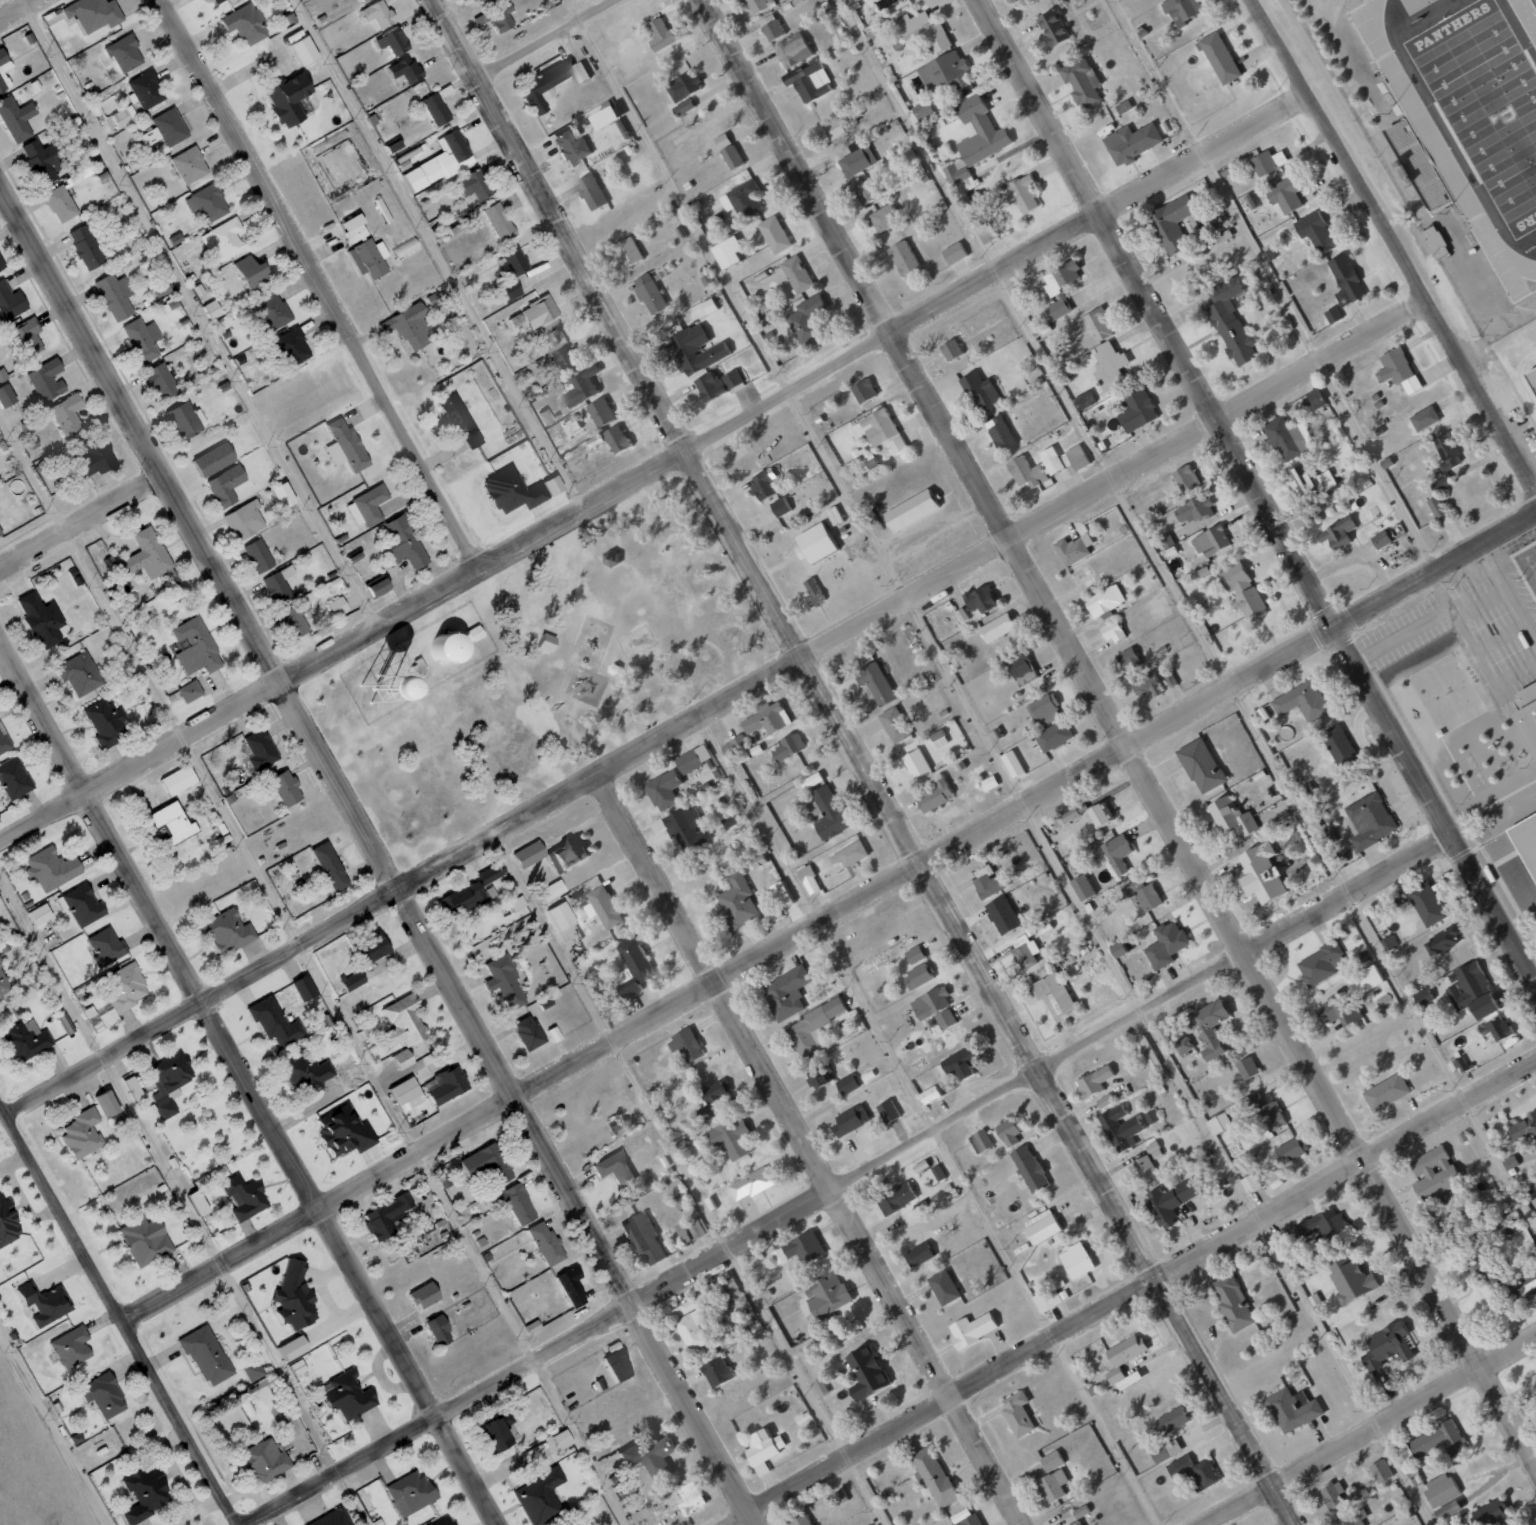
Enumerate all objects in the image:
building: (211, 1)
building: (479, 1)
building: (849, 1)
building: (759, 4)
road: (11, 7)
building: (1181, 10)
track: (1529, 12)
building: (93, 13)
building: (372, 13)
track: (1377, 16)
building: (492, 17)
building: (241, 24)
building: (771, 27)
building: (1052, 27)
building: (924, 32)
building: (661, 35)
building: (388, 41)
road: (564, 45)
building: (298, 50)
building: (792, 50)
building: (125, 53)
building: (1219, 58)
building: (4, 68)
building: (401, 69)
building: (946, 72)
building: (810, 81)
building: (1081, 81)
building: (540, 85)
building: (684, 86)
building: (147, 89)
building: (282, 99)
park: (1488, 100)
building: (683, 107)
building: (1123, 107)
building: (432, 108)
building: (921, 111)
building: (124, 116)
building: (604, 117)
building: (17, 118)
building: (841, 124)
building: (976, 138)
building: (1131, 143)
building: (389, 146)
building: (569, 147)
building: (729, 151)
track: (1442, 151)
building: (855, 157)
building: (43, 161)
building: (436, 162)
building: (1268, 162)
building: (1421, 163)
building: (190, 165)
building: (79, 175)
building: (471, 184)
building: (867, 188)
building: (591, 191)
building: (1022, 193)
building: (1285, 194)
building: (742, 199)
building: (208, 202)
building: (61, 203)
building: (883, 218)
building: (496, 221)
building: (1171, 225)
building: (349, 228)
building: (986, 232)
building: (1315, 232)
building: (774, 234)
building: (1224, 236)
building: (175, 238)
building: (222, 241)
building: (1434, 242)
road: (1393, 246)
building: (86, 247)
building: (402, 248)
building: (628, 251)
building: (727, 252)
building: (953, 253)
road: (439, 255)
building: (364, 258)
building: (903, 258)
building: (509, 261)
track: (1519, 263)
building: (1, 264)
building: (253, 272)
building: (796, 274)
building: (1062, 277)
building: (1346, 280)
road: (1277, 284)
road: (316, 285)
building: (505, 290)
building: (649, 292)
building: (116, 295)
building: (11, 301)
building: (1058, 308)
building: (213, 309)
building: (272, 311)
building: (534, 312)
road: (200, 314)
building: (1333, 315)
building: (807, 319)
building: (1230, 322)
building: (1098, 324)
building: (404, 326)
building: (26, 337)
building: (142, 340)
building: (292, 347)
building: (697, 349)
building: (951, 349)
building: (566, 360)
building: (1109, 365)
building: (1398, 370)
building: (1533, 373)
building: (733, 379)
building: (48, 380)
building: (163, 381)
building: (711, 386)
building: (582, 387)
building: (864, 390)
building: (981, 391)
building: (7, 396)
building: (1316, 398)
building: (1084, 401)
building: (1137, 411)
building: (601, 412)
building: (68, 414)
building: (1424, 418)
building: (454, 420)
building: (184, 421)
building: (570, 425)
building: (876, 427)
building: (1000, 433)
building: (1288, 438)
building: (617, 439)
building: (349, 444)
building: (897, 445)
building: (97, 456)
building: (1075, 458)
building: (216, 459)
road: (652, 467)
building: (1035, 468)
building: (1443, 471)
building: (1184, 480)
building: (1301, 482)
building: (764, 484)
building: (227, 485)
building: (546, 485)
building: (507, 491)
road: (1257, 493)
building: (286, 495)
building: (368, 506)
building: (780, 507)
building: (912, 510)
building: (1194, 510)
building: (835, 515)
road: (78, 519)
building: (246, 520)
building: (1337, 533)
building: (0, 535)
building: (1381, 539)
building: (1166, 540)
building: (1211, 541)
building: (404, 543)
building: (815, 544)
building: (1070, 550)
building: (147, 555)
building: (259, 555)
building: (278, 584)
building: (378, 586)
building: (812, 591)
building: (1242, 591)
building: (981, 599)
building: (1104, 601)
building: (338, 606)
road: (1189, 613)
building: (42, 619)
building: (293, 622)
building: (996, 628)
building: (1112, 631)
building: (445, 645)
storage tank: (445, 645)
building: (196, 647)
building: (1129, 660)
building: (1019, 665)
water tower: (361, 670)
park: (553, 672)
building: (80, 673)
building: (1146, 682)
building: (875, 683)
building: (190, 691)
building: (1302, 701)
road: (716, 710)
building: (1045, 710)
building: (1530, 711)
building: (767, 718)
building: (105, 722)
building: (895, 724)
road: (1117, 734)
building: (1053, 736)
building: (939, 738)
building: (5, 742)
building: (734, 745)
building: (788, 747)
building: (1340, 748)
building: (259, 749)
building: (689, 761)
road: (862, 761)
road: (1002, 762)
building: (916, 763)
building: (1012, 764)
building: (1201, 765)
building: (15, 777)
building: (179, 780)
building: (989, 783)
building: (287, 788)
building: (666, 789)
building: (935, 796)
building: (829, 813)
building: (1100, 813)
building: (1070, 814)
building: (1231, 816)
building: (731, 820)
building: (1369, 820)
building: (174, 823)
building: (689, 828)
building: (1526, 838)
building: (530, 853)
building: (1117, 853)
building: (574, 854)
building: (849, 854)
road: (376, 858)
building: (331, 866)
building: (52, 868)
building: (491, 872)
building: (809, 879)
building: (990, 881)
building: (1082, 887)
building: (781, 894)
building: (1143, 894)
building: (464, 899)
building: (738, 903)
building: (1426, 903)
building: (84, 905)
building: (608, 907)
building: (41, 914)
building: (1002, 914)
building: (563, 916)
road: (828, 916)
building: (228, 931)
building: (1441, 940)
building: (1389, 942)
building: (1166, 944)
building: (106, 946)
building: (372, 948)
building: (1118, 950)
building: (1026, 952)
building: (915, 954)
building: (1321, 964)
building: (639, 965)
road: (313, 970)
building: (917, 976)
building: (1364, 980)
building: (353, 981)
building: (505, 981)
building: (3, 983)
building: (125, 986)
building: (305, 989)
building: (1054, 991)
building: (1471, 991)
building: (786, 992)
building: (1423, 997)
building: (930, 1002)
building: (97, 1007)
building: (1336, 1009)
building: (946, 1018)
building: (406, 1020)
building: (275, 1022)
building: (67, 1024)
building: (812, 1027)
building: (1210, 1027)
building: (1498, 1028)
building: (1170, 1030)
building: (529, 1032)
building: (26, 1041)
building: (1184, 1045)
building: (685, 1046)
building: (1146, 1051)
building: (402, 1059)
building: (959, 1063)
building: (1247, 1067)
building: (307, 1073)
building: (819, 1075)
building: (1093, 1081)
building: (170, 1083)
building: (847, 1084)
building: (133, 1086)
building: (446, 1086)
road: (249, 1087)
building: (715, 1092)
building: (1386, 1092)
building: (408, 1094)
building: (930, 1095)
building: (1105, 1101)
building: (109, 1104)
building: (888, 1111)
building: (1265, 1111)
building: (1152, 1116)
building: (850, 1119)
road: (932, 1121)
building: (1219, 1123)
building: (621, 1125)
building: (1121, 1128)
building: (1522, 1129)
building: (1009, 1132)
building: (83, 1133)
building: (344, 1133)
building: (732, 1138)
building: (980, 1141)
road: (809, 1150)
building: (1291, 1150)
building: (1509, 1162)
building: (490, 1164)
building: (1144, 1167)
building: (1030, 1168)
building: (618, 1169)
building: (936, 1174)
building: (1432, 1174)
road: (847, 1178)
road: (690, 1179)
building: (1250, 1183)
building: (751, 1184)
road: (185, 1196)
building: (245, 1197)
building: (896, 1198)
building: (1170, 1200)
building: (514, 1203)
building: (386, 1217)
building: (8, 1222)
building: (1321, 1225)
building: (1042, 1226)
building: (644, 1239)
building: (146, 1240)
building: (546, 1243)
building: (799, 1249)
building: (918, 1254)
building: (1076, 1261)
building: (1486, 1272)
building: (1350, 1278)
building: (573, 1286)
building: (943, 1287)
building: (1529, 1289)
road: (1131, 1293)
building: (426, 1295)
building: (296, 1296)
building: (827, 1297)
building: (1047, 1299)
building: (45, 1303)
building: (1232, 1303)
road: (118, 1316)
building: (695, 1319)
building: (440, 1329)
building: (972, 1329)
building: (1386, 1346)
building: (72, 1347)
building: (296, 1348)
building: (207, 1356)
building: (1124, 1361)
building: (619, 1366)
building: (254, 1370)
building: (718, 1371)
building: (866, 1372)
building: (1531, 1384)
building: (104, 1395)
building: (348, 1396)
building: (1292, 1409)
building: (1017, 1413)
building: (1170, 1420)
road: (54, 1428)
road: (1371, 1430)
building: (494, 1431)
building: (558, 1439)
building: (1438, 1440)
building: (764, 1449)
building: (1165, 1451)
building: (1405, 1455)
building: (649, 1456)
building: (266, 1460)
building: (1052, 1460)
building: (1381, 1471)
building: (1194, 1472)
building: (934, 1477)
building: (1054, 1484)
building: (1440, 1489)
building: (406, 1492)
building: (145, 1493)
building: (1333, 1494)
building: (536, 1496)
building: (690, 1498)
building: (1447, 1509)
building: (1081, 1511)
building: (1491, 1512)
building: (327, 1518)
building: (799, 1518)
building: (968, 1518)
building: (1353, 1518)
building: (438, 1521)
building: (1076, 1523)

